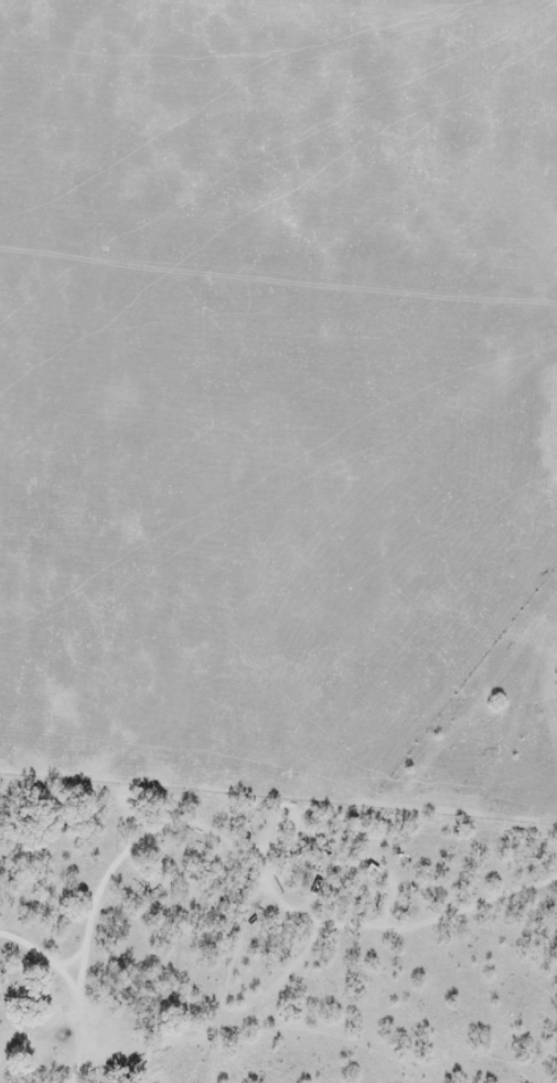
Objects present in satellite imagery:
road: (179, 821)

